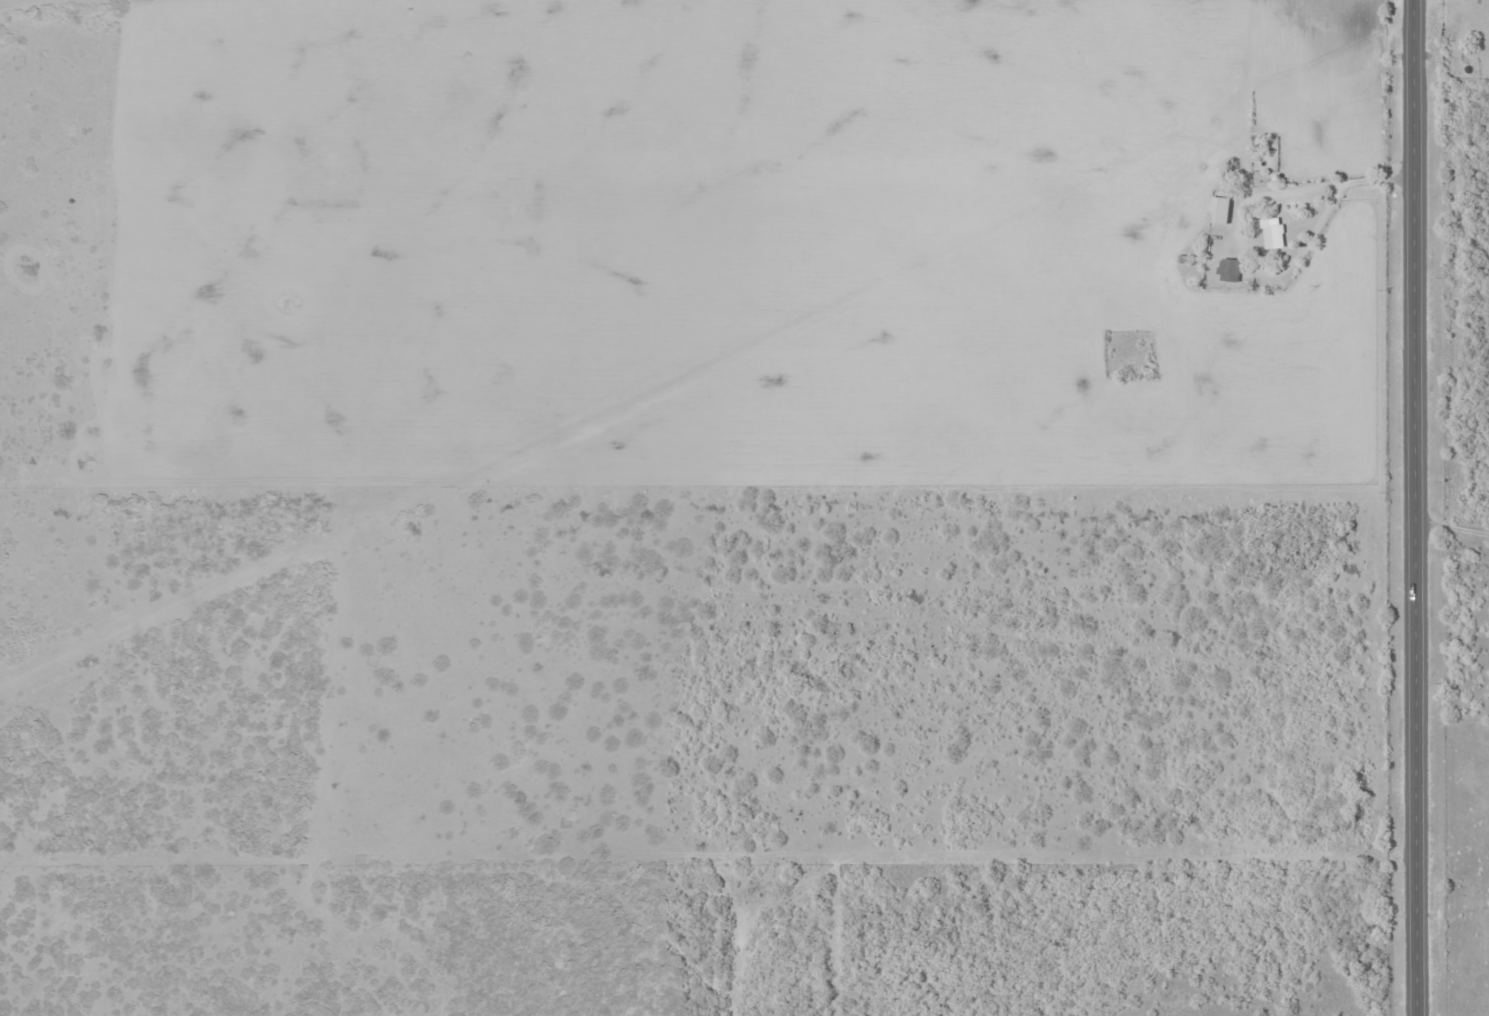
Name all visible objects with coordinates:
building: (1219, 209)
building: (1272, 232)
building: (1229, 269)
road: (1415, 507)

